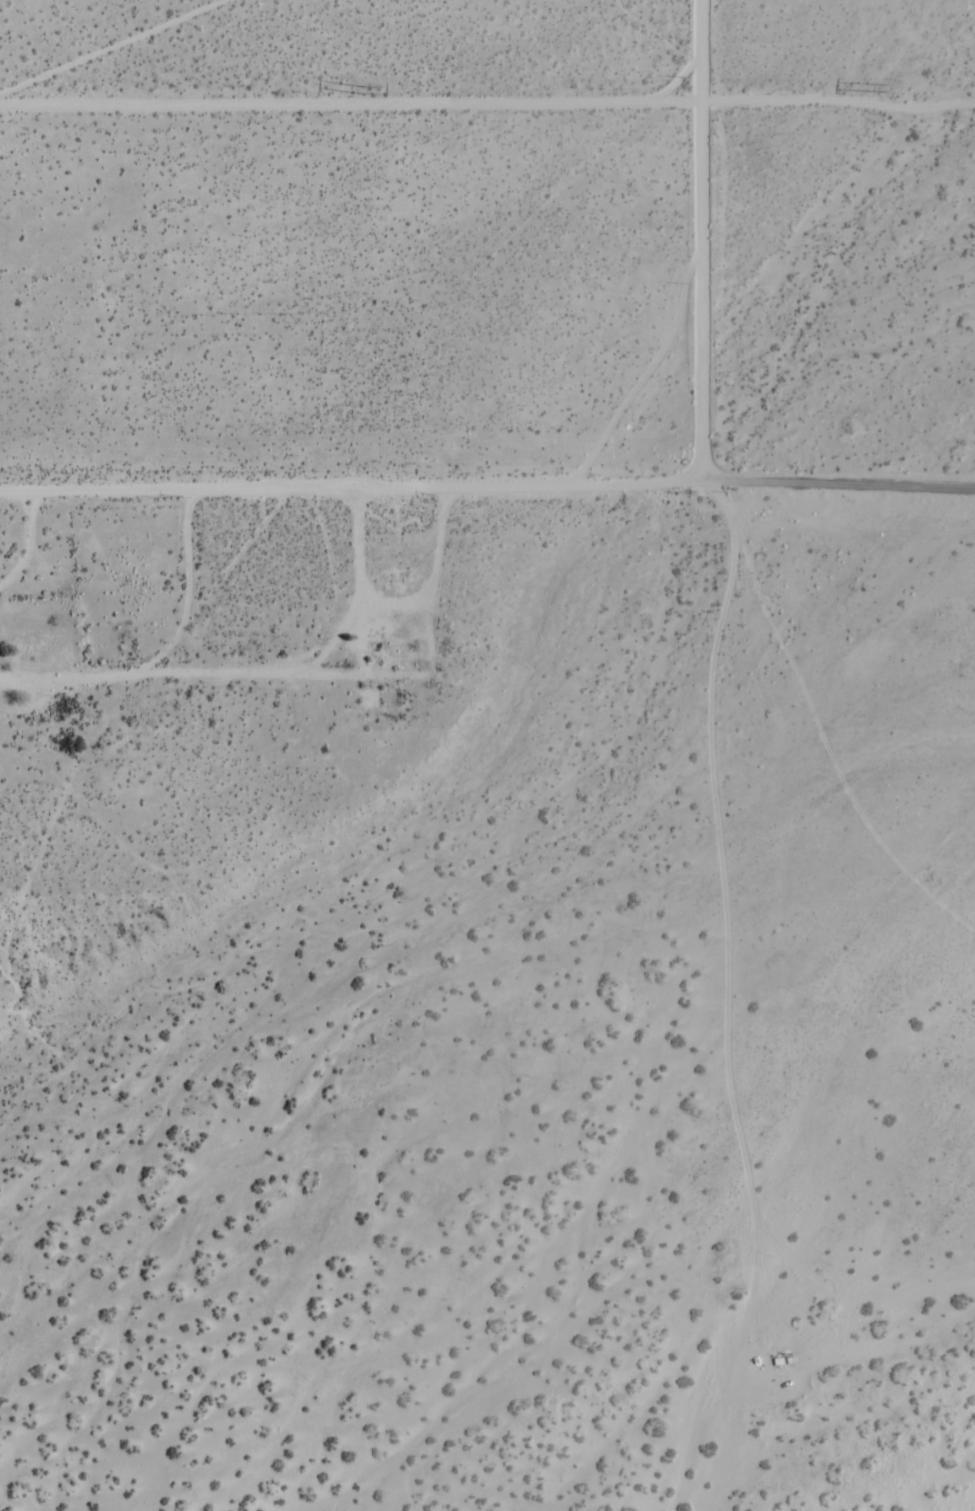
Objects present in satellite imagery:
road: (110, 46)
power tower: (898, 89)
power tower: (368, 91)
road: (487, 100)
road: (699, 240)
road: (840, 480)
road: (353, 488)

